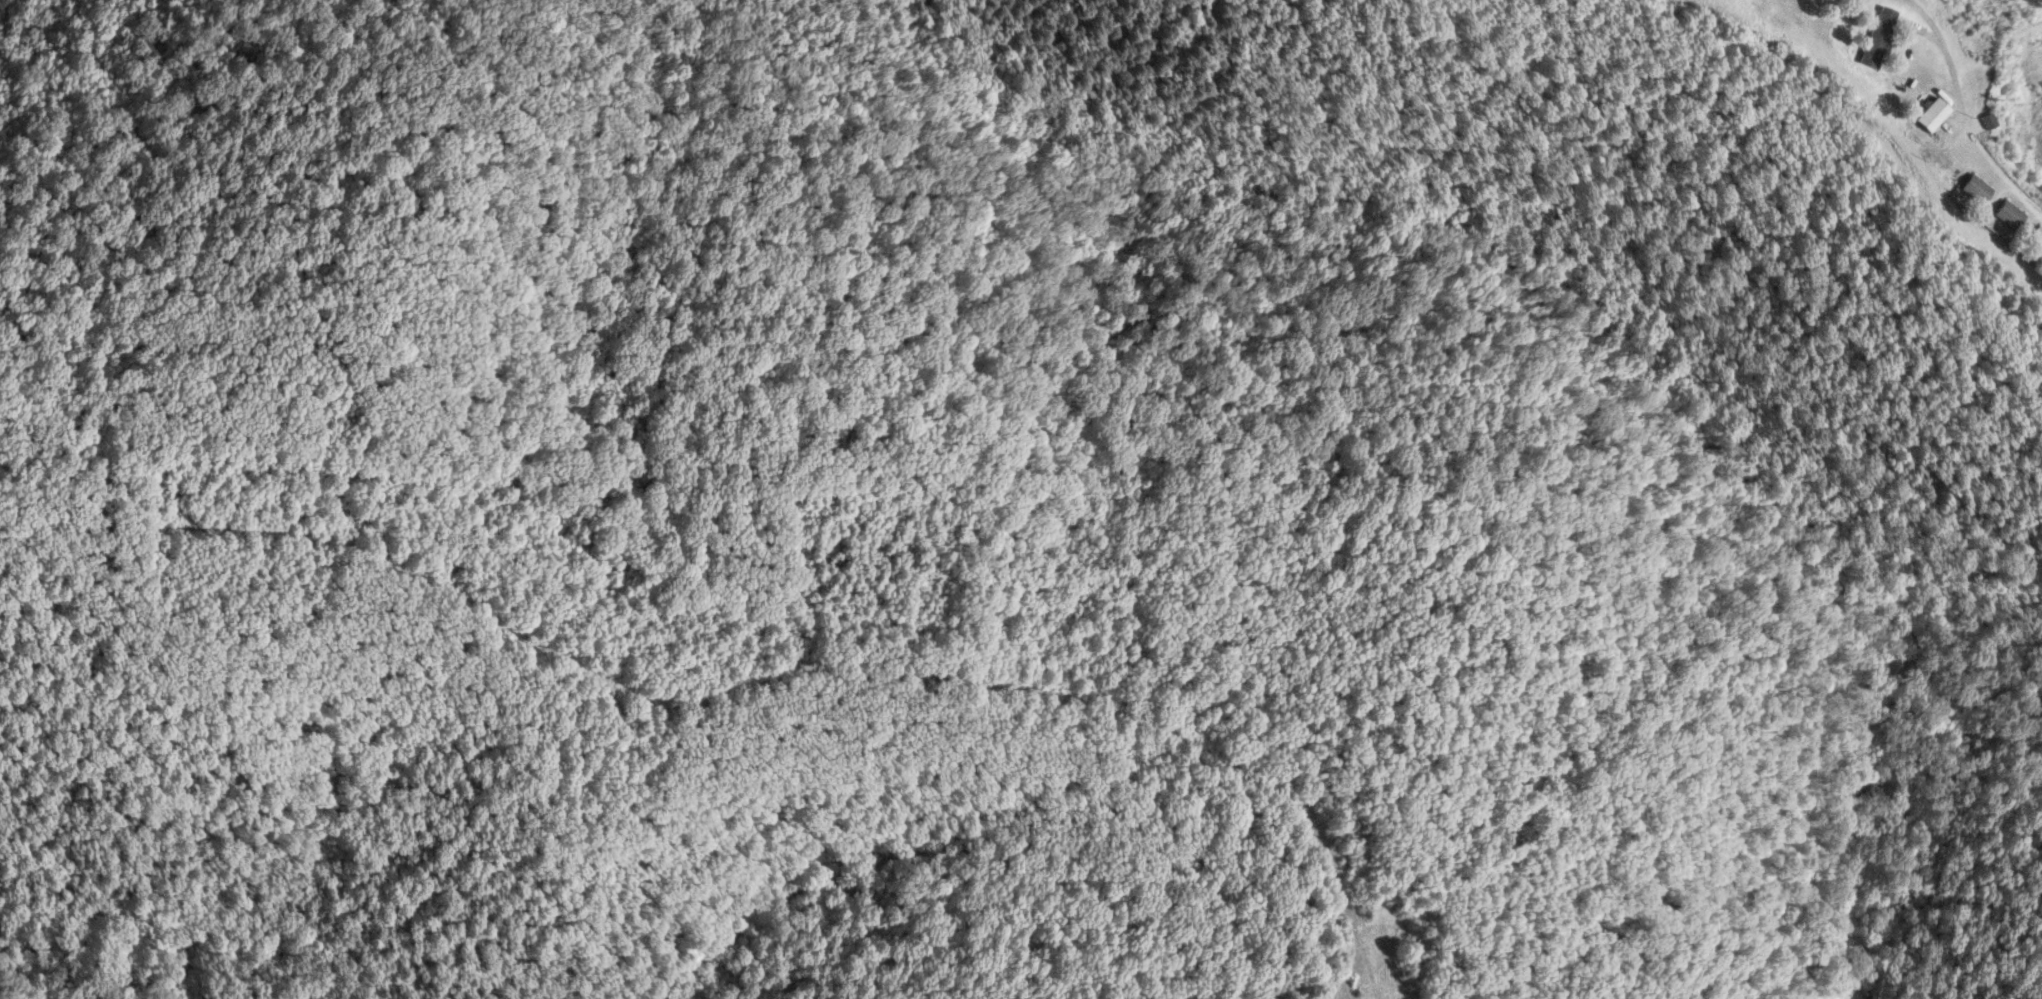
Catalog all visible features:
building: (1879, 36)
building: (1934, 113)
road: (1978, 133)
building: (1976, 188)
building: (2009, 213)
building: (2036, 237)

